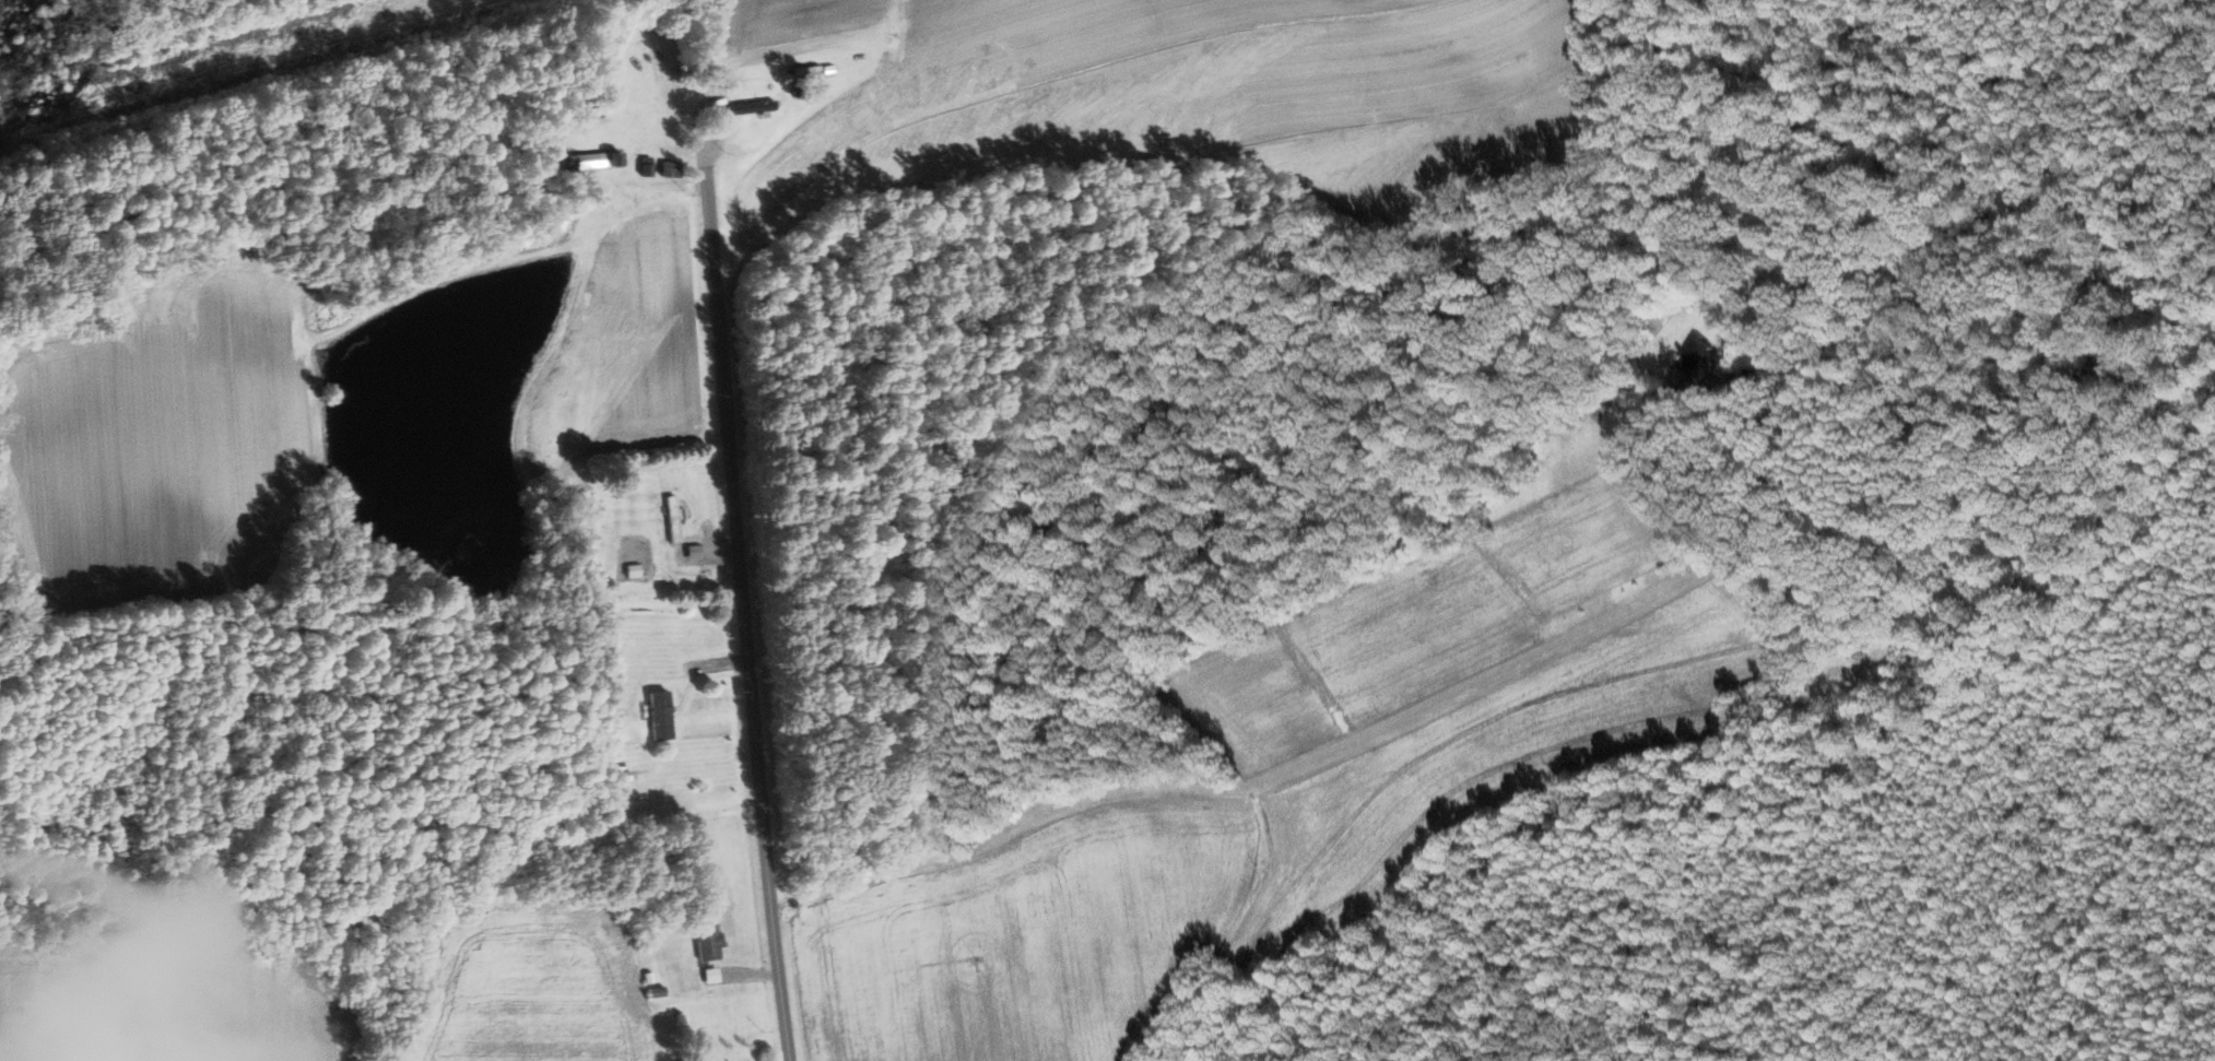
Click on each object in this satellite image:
power tower: (107, 95)
building: (746, 107)
building: (599, 161)
building: (690, 552)
road: (752, 610)
road: (1480, 677)
building: (657, 716)
building: (704, 942)
building: (708, 976)

